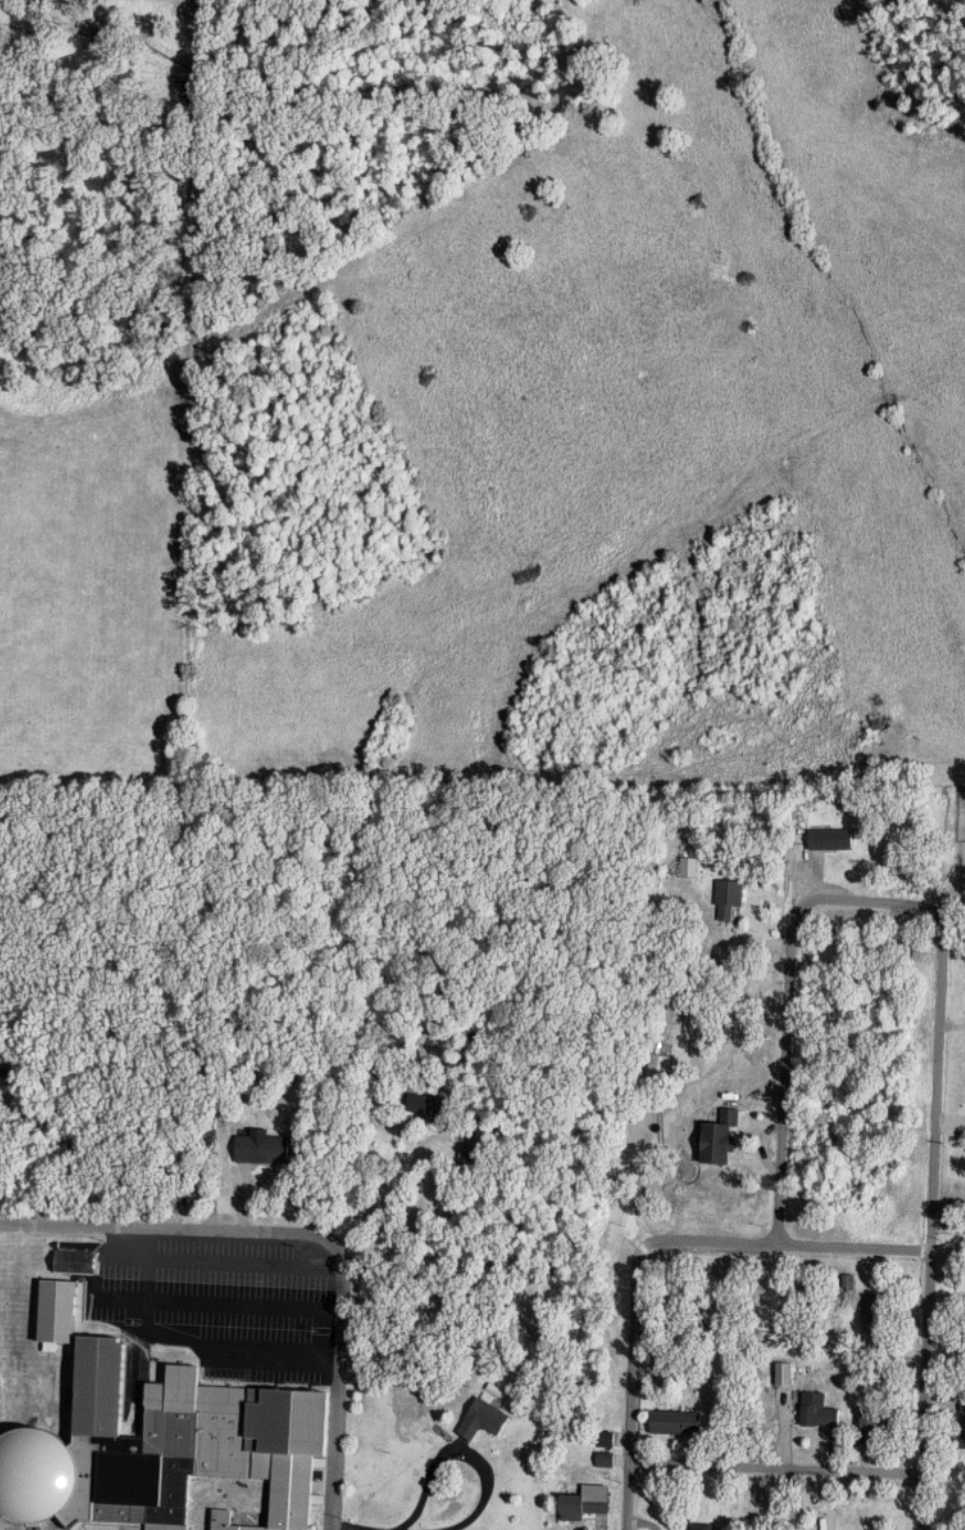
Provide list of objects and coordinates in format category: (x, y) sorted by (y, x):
road: (79, 192)
crop: (97, 566)
building: (833, 839)
building: (690, 868)
building: (731, 900)
road: (869, 901)
building: (659, 1067)
building: (428, 1104)
building: (721, 1139)
building: (264, 1148)
building: (470, 1149)
road: (168, 1227)
road: (786, 1244)
road: (140, 1245)
building: (77, 1262)
building: (849, 1281)
road: (146, 1282)
building: (877, 1312)
road: (340, 1384)
road: (633, 1386)
road: (925, 1390)
building: (826, 1416)
building: (486, 1419)
building: (879, 1420)
building: (678, 1423)
building: (963, 1424)
building: (608, 1439)
building: (204, 1448)
road: (466, 1453)
building: (606, 1460)
road: (776, 1469)
building: (585, 1505)
building: (703, 1526)
road: (352, 1527)

